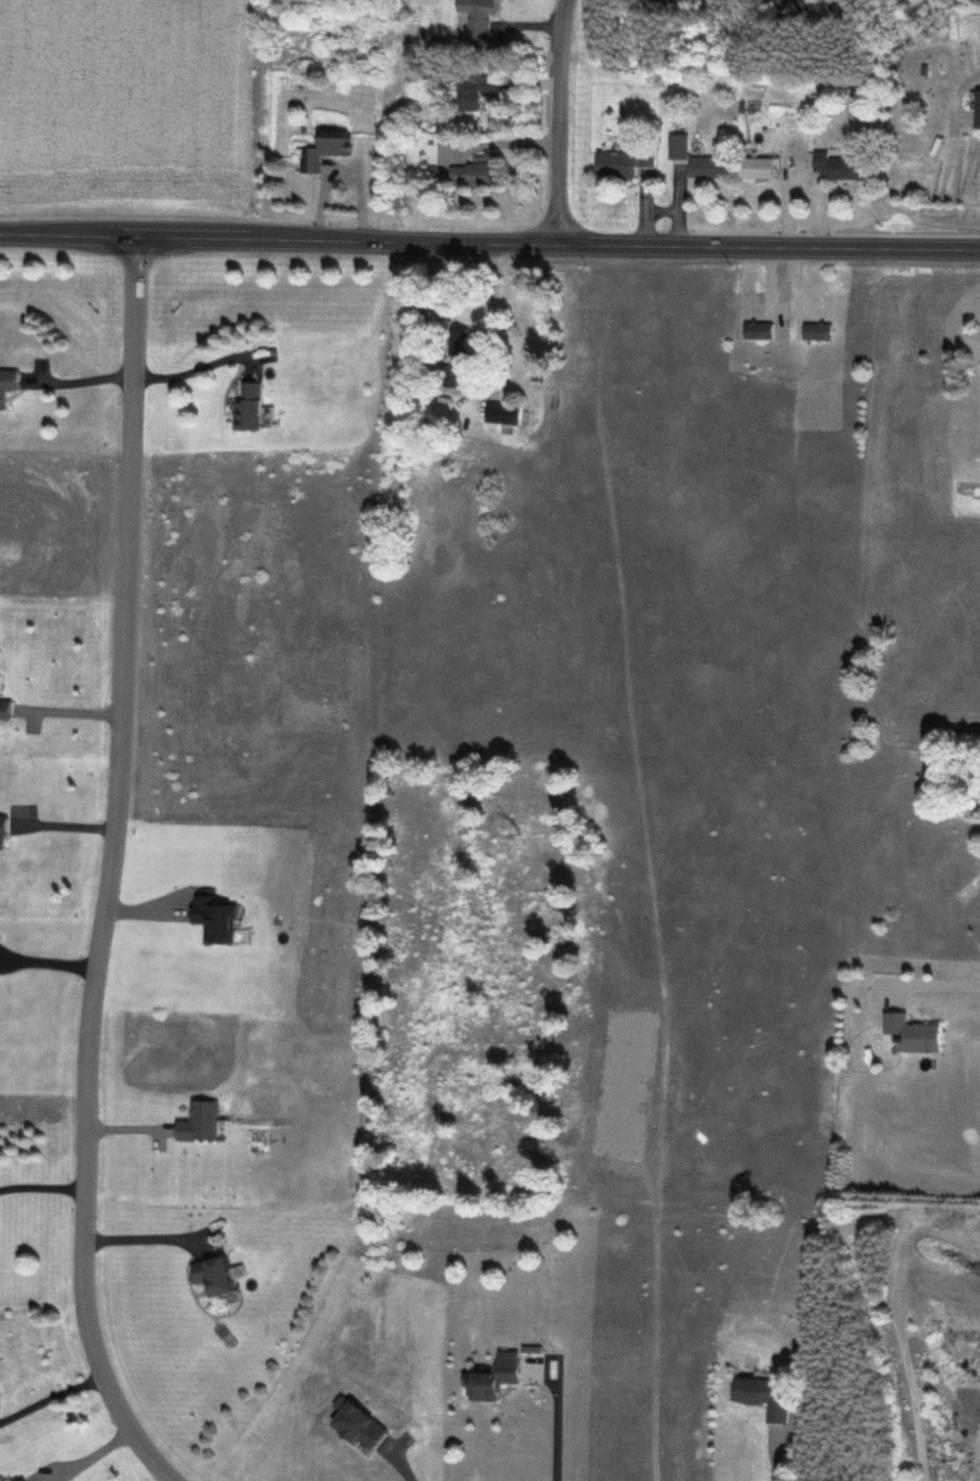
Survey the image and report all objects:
building: (775, 3)
building: (475, 15)
building: (474, 90)
building: (975, 108)
road: (559, 122)
building: (676, 145)
building: (323, 147)
building: (623, 161)
building: (703, 165)
building: (753, 165)
building: (835, 165)
building: (472, 171)
road: (489, 243)
building: (756, 329)
building: (816, 330)
building: (7, 380)
building: (245, 404)
building: (501, 412)
building: (4, 709)
road: (107, 870)
road: (933, 984)
building: (911, 1031)
building: (197, 1121)
building: (211, 1274)
quarry: (940, 1347)
building: (493, 1376)
building: (760, 1394)

